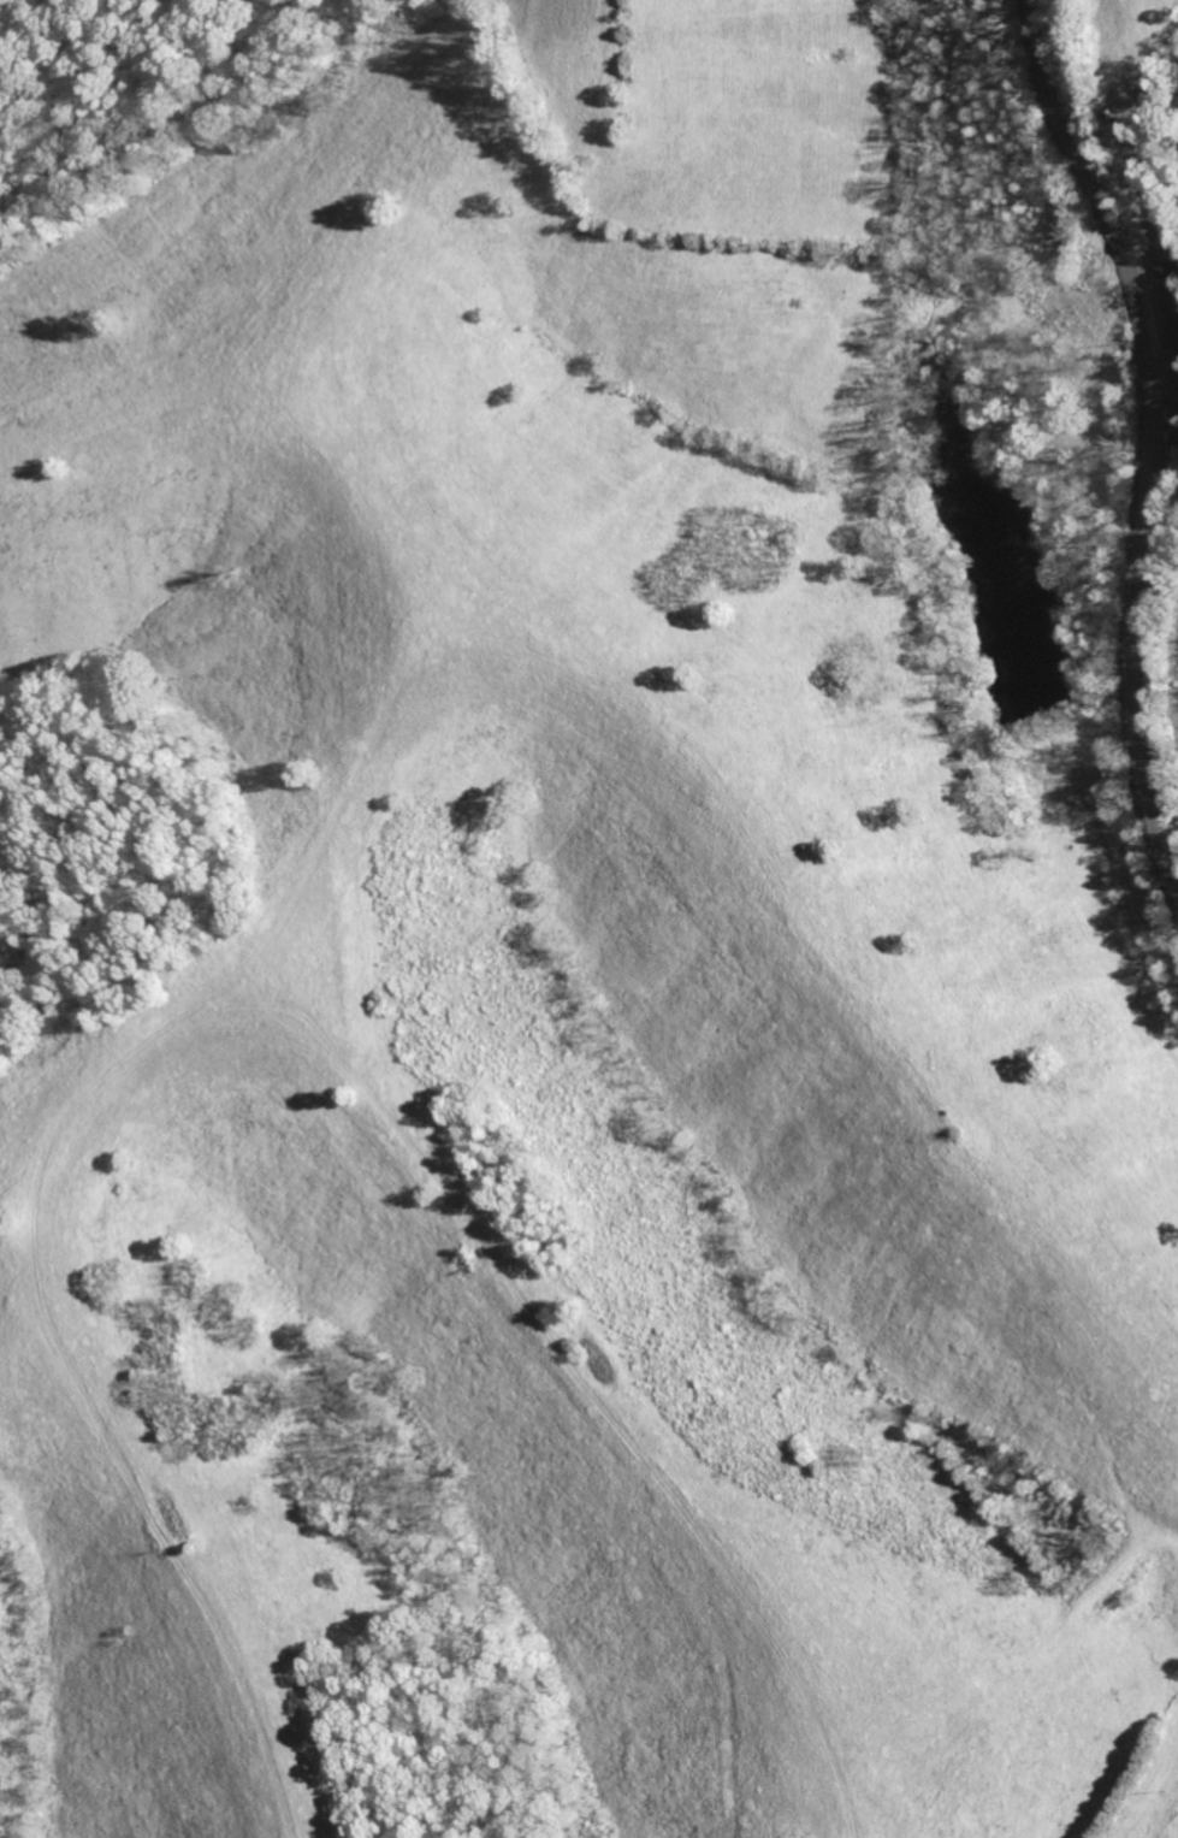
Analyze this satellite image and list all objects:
road: (1150, 438)

